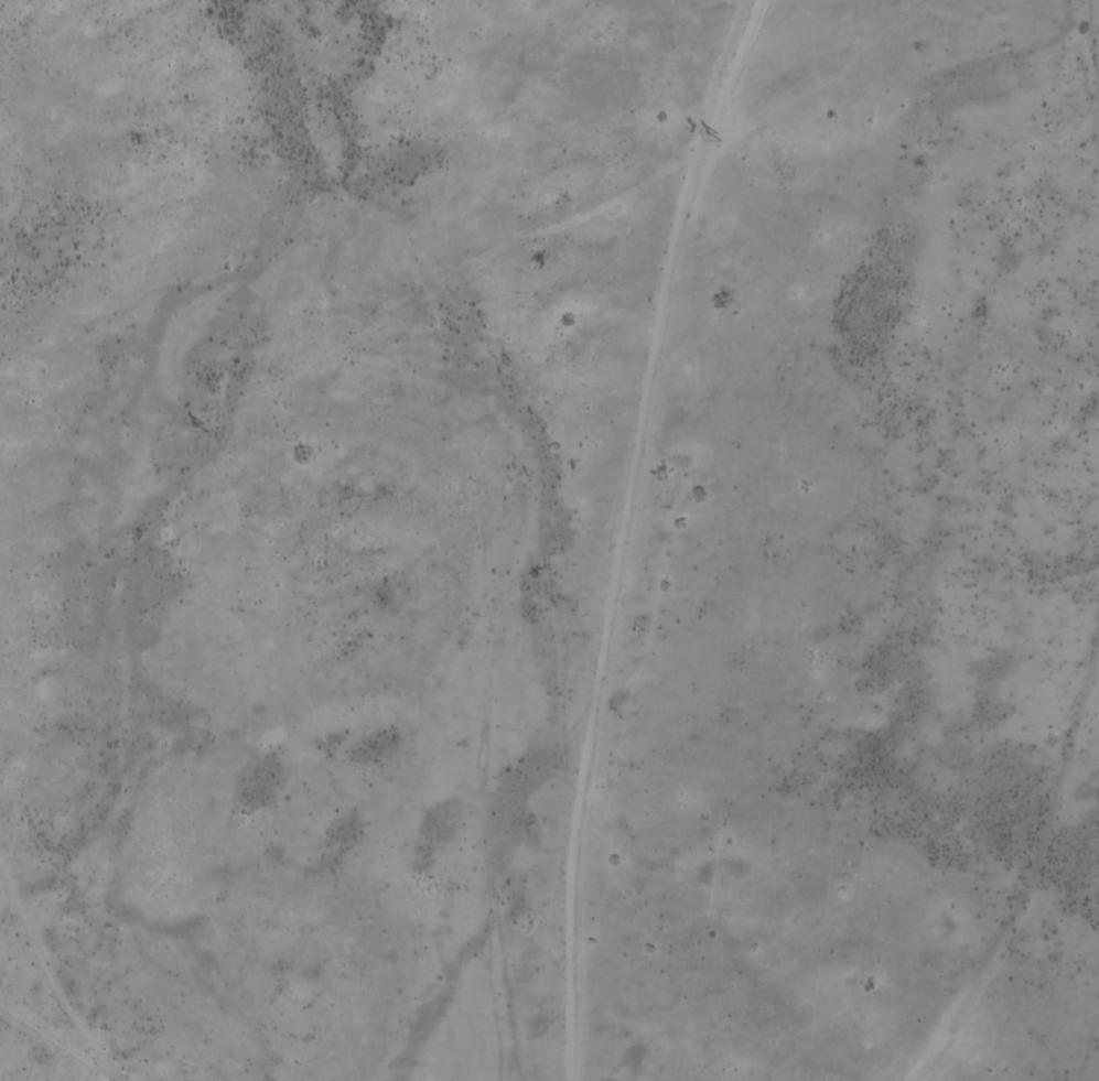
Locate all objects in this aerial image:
road: (1022, 897)

